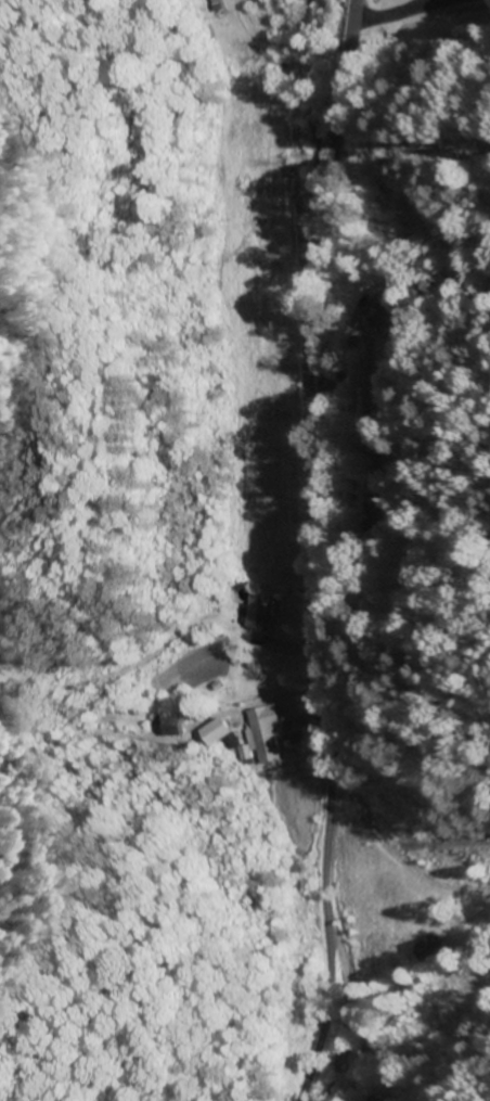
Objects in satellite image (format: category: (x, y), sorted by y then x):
building: (209, 5)
building: (376, 514)
road: (319, 550)
building: (254, 614)
building: (169, 726)
building: (212, 731)
building: (258, 734)
building: (426, 948)
building: (373, 1100)

